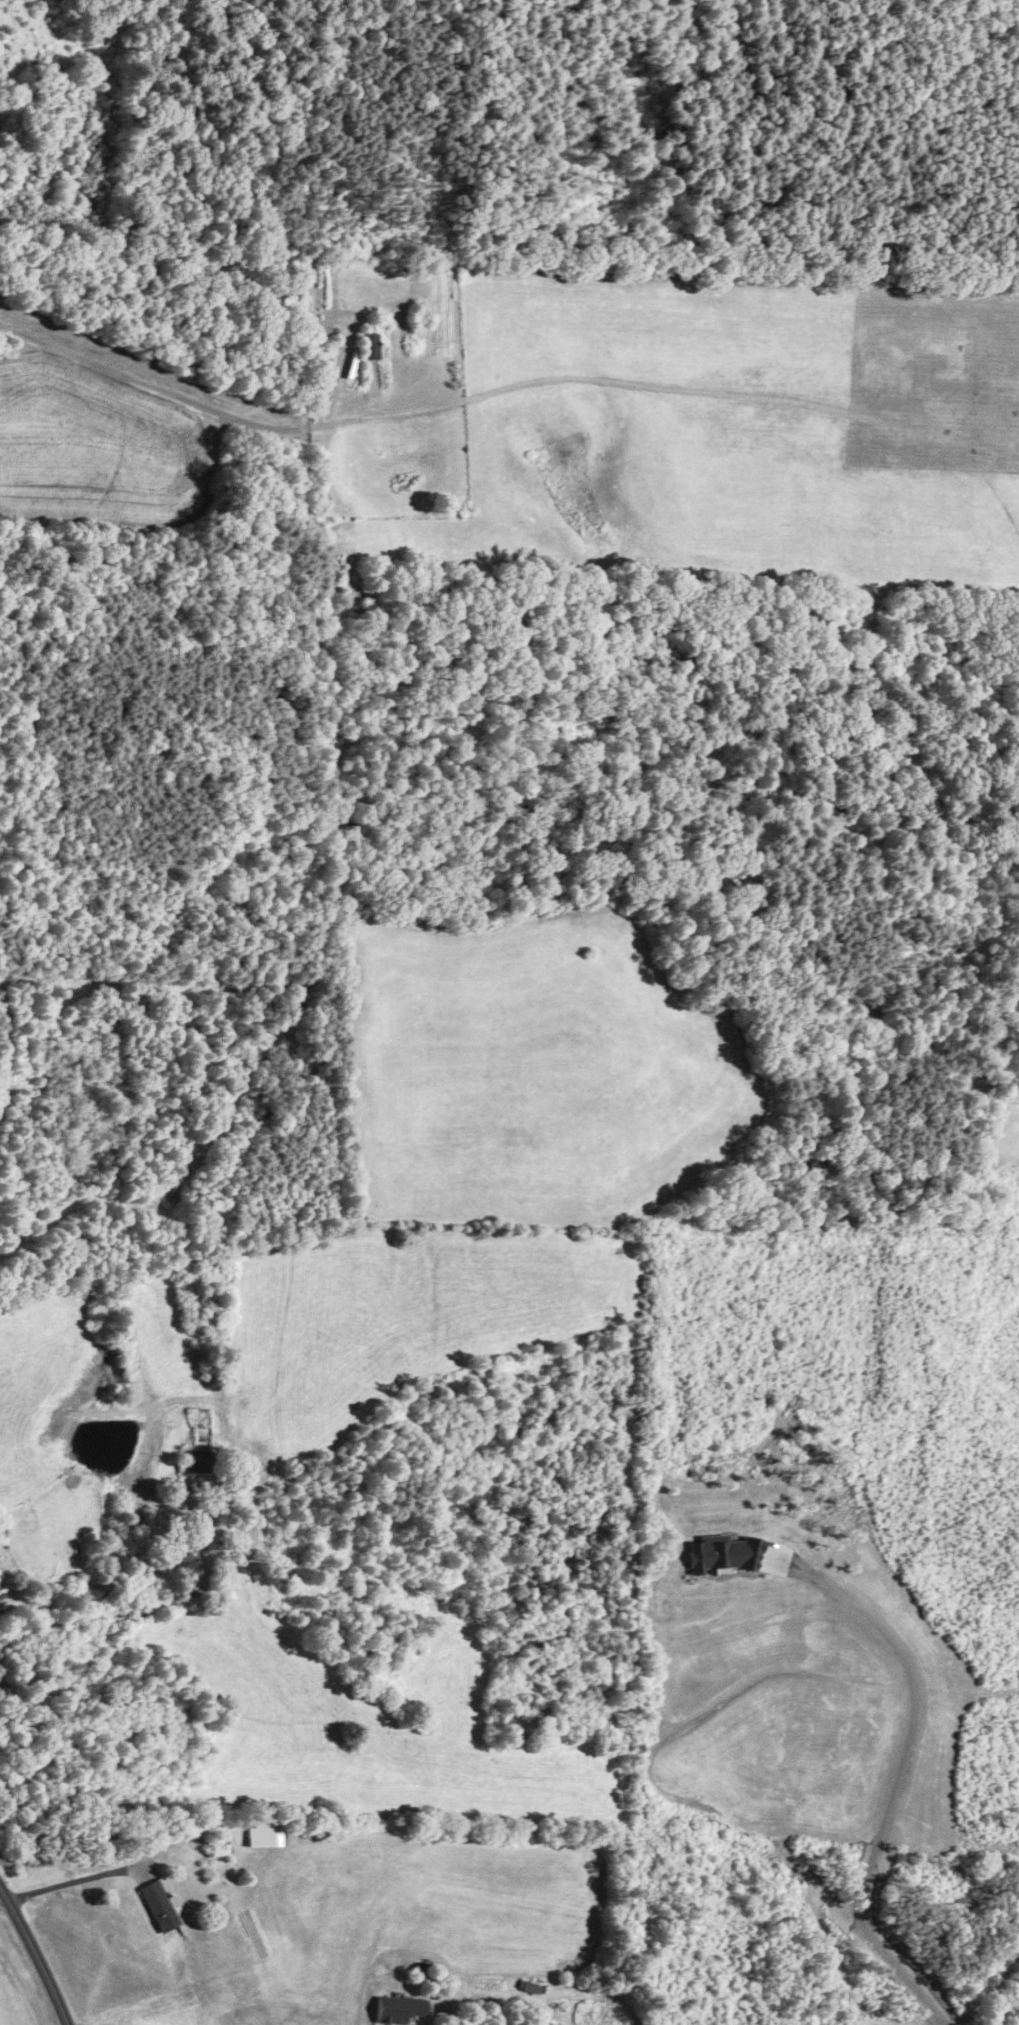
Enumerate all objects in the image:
building: (369, 343)
road: (140, 381)
building: (199, 1459)
road: (897, 1771)
road: (68, 1882)
road: (2, 1897)
building: (158, 1907)
road: (36, 1954)
building: (528, 1987)
road: (487, 2006)
road: (1003, 2007)

